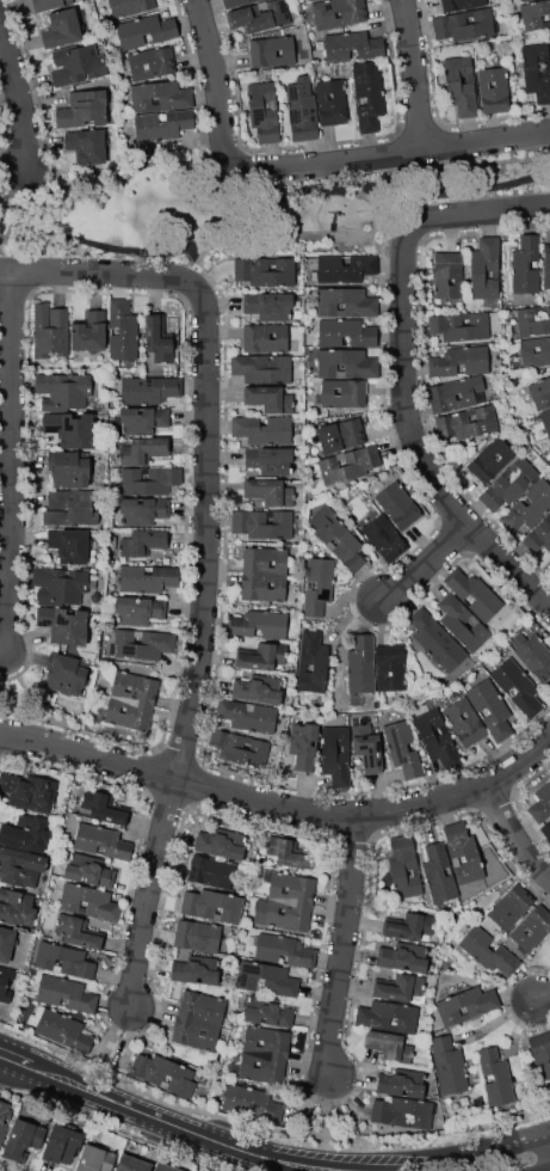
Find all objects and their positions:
building: (523, 0)
building: (236, 2)
building: (49, 5)
building: (461, 5)
building: (130, 7)
building: (353, 14)
building: (260, 16)
building: (534, 16)
building: (464, 24)
building: (62, 27)
building: (146, 31)
building: (549, 43)
building: (352, 47)
building: (272, 51)
building: (152, 63)
building: (76, 65)
building: (536, 70)
road: (413, 74)
road: (18, 81)
building: (459, 85)
building: (493, 90)
building: (367, 94)
building: (160, 96)
building: (330, 103)
building: (84, 109)
building: (302, 109)
building: (264, 111)
building: (162, 124)
building: (86, 146)
road: (314, 163)
road: (261, 185)
road: (270, 200)
road: (481, 208)
road: (20, 219)
road: (292, 231)
road: (191, 256)
building: (526, 264)
building: (546, 265)
building: (344, 268)
building: (265, 270)
building: (484, 270)
road: (94, 275)
building: (446, 275)
building: (346, 302)
building: (268, 305)
building: (533, 319)
building: (461, 325)
building: (50, 330)
building: (123, 331)
building: (89, 332)
building: (346, 332)
building: (264, 337)
building: (157, 338)
building: (526, 350)
building: (459, 361)
building: (345, 363)
building: (262, 368)
building: (149, 390)
building: (66, 391)
building: (540, 392)
building: (345, 393)
building: (453, 393)
building: (270, 399)
building: (143, 419)
building: (545, 421)
building: (466, 423)
building: (262, 429)
building: (72, 430)
building: (338, 434)
road: (421, 437)
building: (143, 450)
building: (268, 460)
building: (490, 460)
building: (348, 465)
road: (16, 466)
building: (70, 470)
building: (149, 480)
building: (508, 484)
building: (270, 492)
building: (398, 505)
building: (530, 505)
building: (69, 508)
building: (144, 511)
building: (262, 523)
road: (209, 526)
building: (539, 535)
building: (336, 538)
building: (384, 538)
building: (142, 542)
building: (70, 545)
road: (428, 564)
building: (264, 575)
building: (147, 578)
building: (317, 585)
building: (58, 587)
building: (474, 594)
building: (140, 611)
building: (462, 621)
building: (258, 624)
building: (63, 625)
building: (435, 639)
building: (142, 643)
building: (533, 655)
building: (261, 656)
building: (313, 662)
building: (360, 664)
building: (390, 667)
building: (64, 674)
road: (4, 679)
building: (518, 687)
building: (258, 688)
building: (132, 701)
building: (490, 709)
building: (247, 715)
building: (463, 723)
building: (435, 737)
building: (303, 746)
building: (239, 747)
building: (402, 747)
building: (367, 748)
building: (336, 755)
building: (29, 791)
road: (280, 803)
building: (540, 803)
building: (105, 808)
building: (546, 828)
building: (25, 833)
road: (518, 835)
building: (101, 840)
building: (221, 842)
building: (288, 852)
building: (463, 852)
building: (20, 866)
building: (403, 866)
building: (88, 870)
building: (211, 871)
building: (439, 872)
road: (153, 896)
building: (88, 901)
building: (286, 901)
building: (212, 905)
building: (511, 906)
building: (16, 907)
building: (409, 927)
building: (532, 928)
building: (79, 932)
building: (197, 936)
building: (6, 943)
building: (284, 950)
road: (345, 950)
building: (488, 951)
building: (402, 956)
building: (64, 960)
building: (196, 969)
building: (267, 979)
building: (5, 982)
building: (401, 988)
building: (64, 994)
road: (546, 1004)
building: (465, 1005)
building: (270, 1014)
building: (387, 1017)
building: (198, 1019)
building: (63, 1029)
building: (389, 1046)
building: (540, 1054)
building: (264, 1055)
road: (12, 1056)
building: (449, 1065)
building: (166, 1073)
building: (495, 1077)
building: (402, 1083)
building: (251, 1104)
road: (135, 1108)
building: (403, 1112)
building: (4, 1116)
road: (325, 1117)
building: (23, 1139)
building: (62, 1145)
building: (97, 1158)
road: (278, 1160)
road: (398, 1160)
building: (131, 1164)
building: (166, 1167)
road: (549, 1170)

